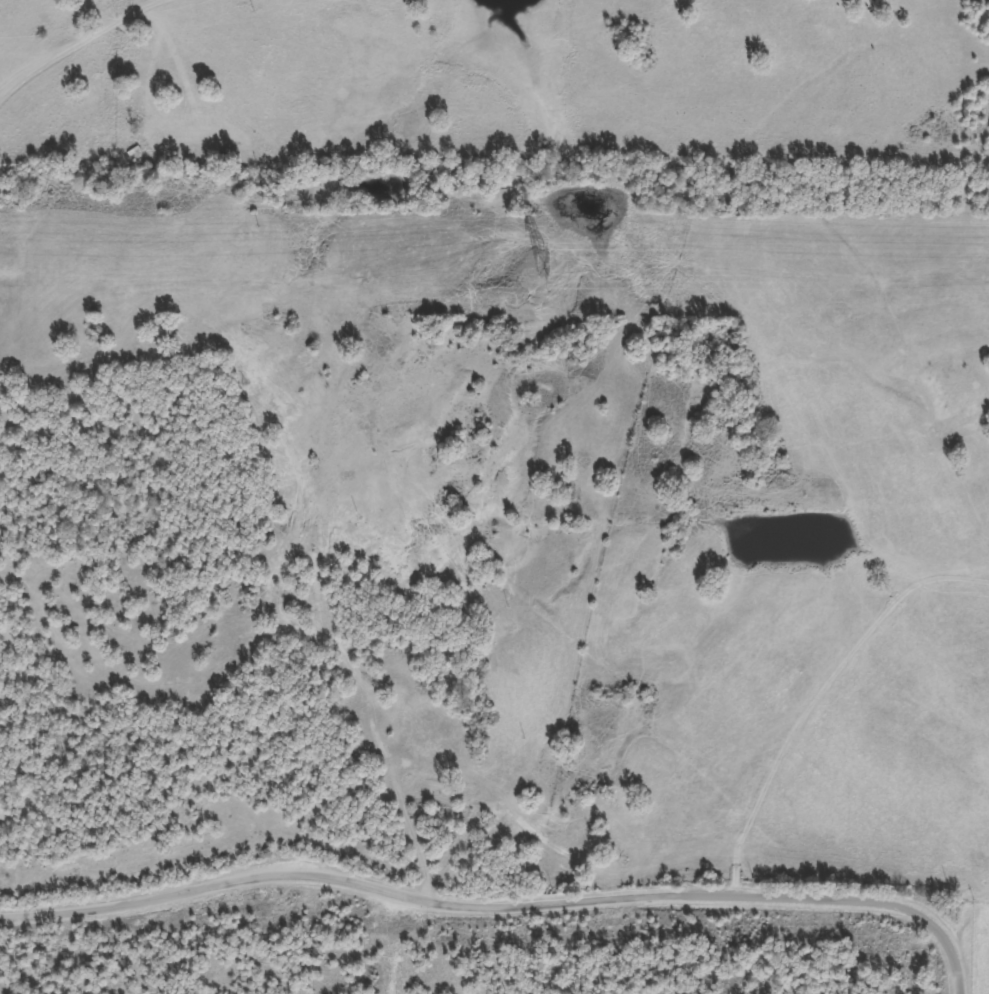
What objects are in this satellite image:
road: (82, 44)
power tower: (541, 265)
road: (817, 695)
road: (513, 906)

